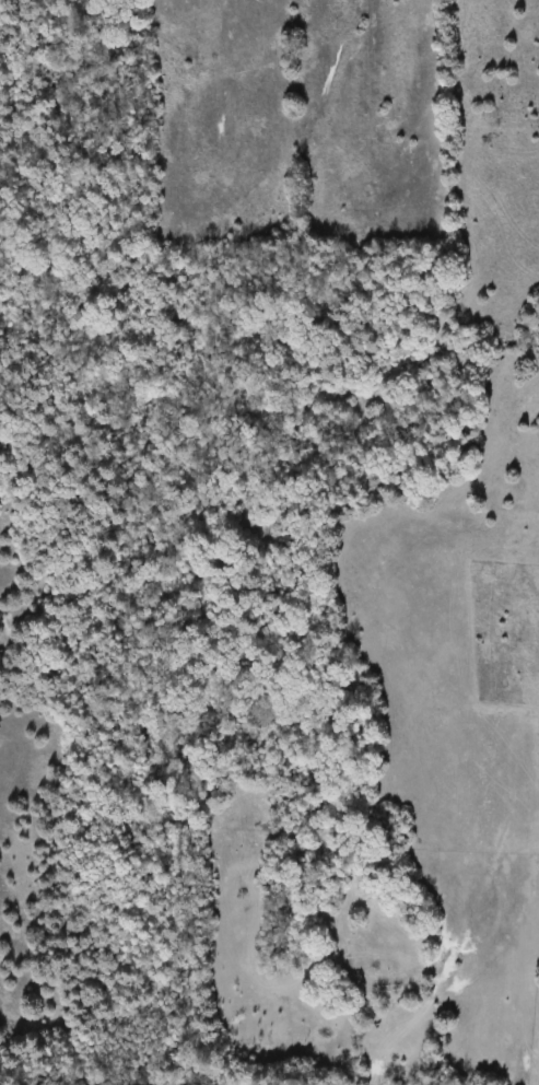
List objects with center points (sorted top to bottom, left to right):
road: (58, 1082)

